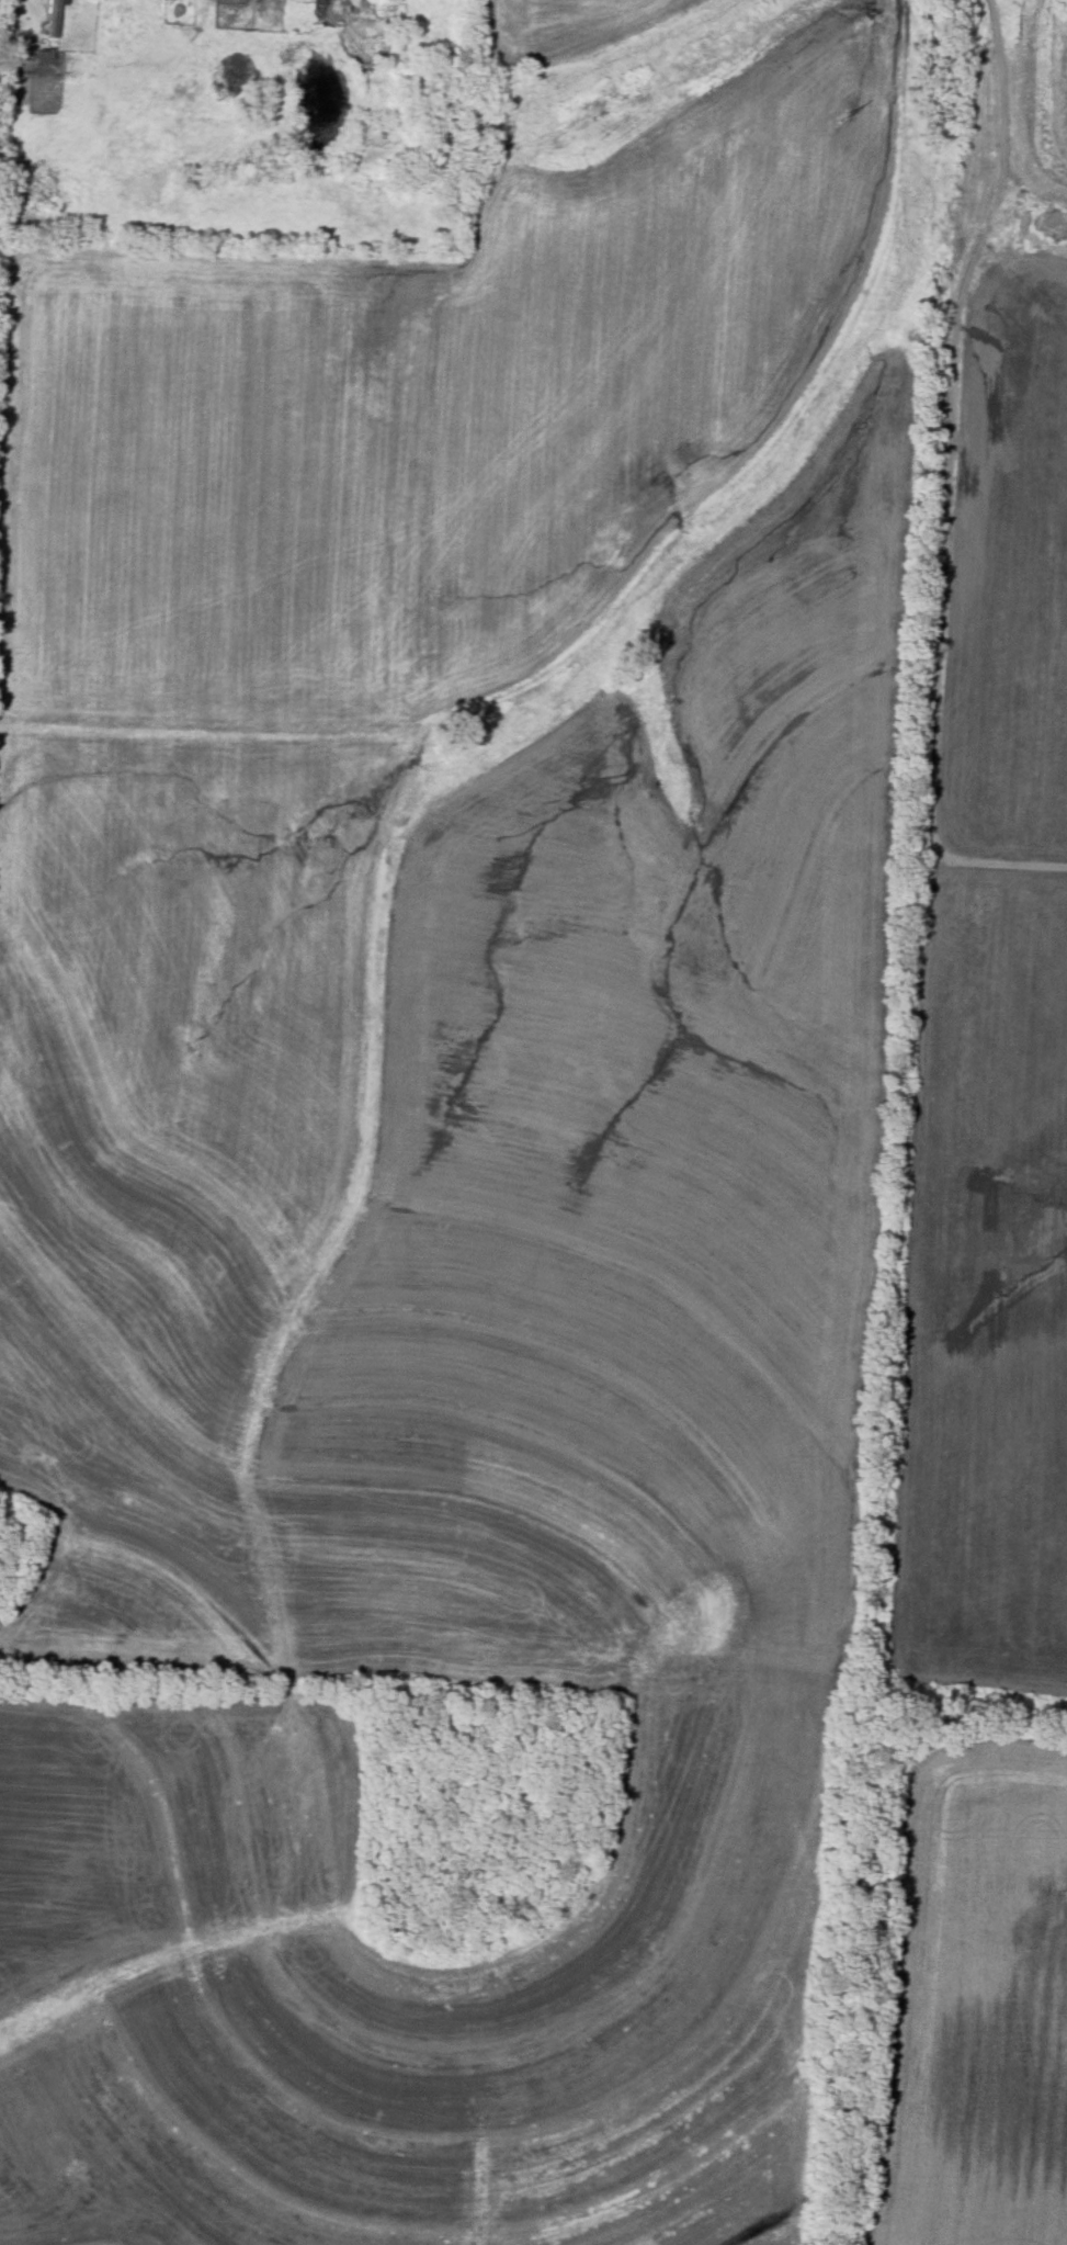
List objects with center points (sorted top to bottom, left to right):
building: (54, 18)
power tower: (854, 126)
crop: (450, 1137)
crop: (967, 1996)

